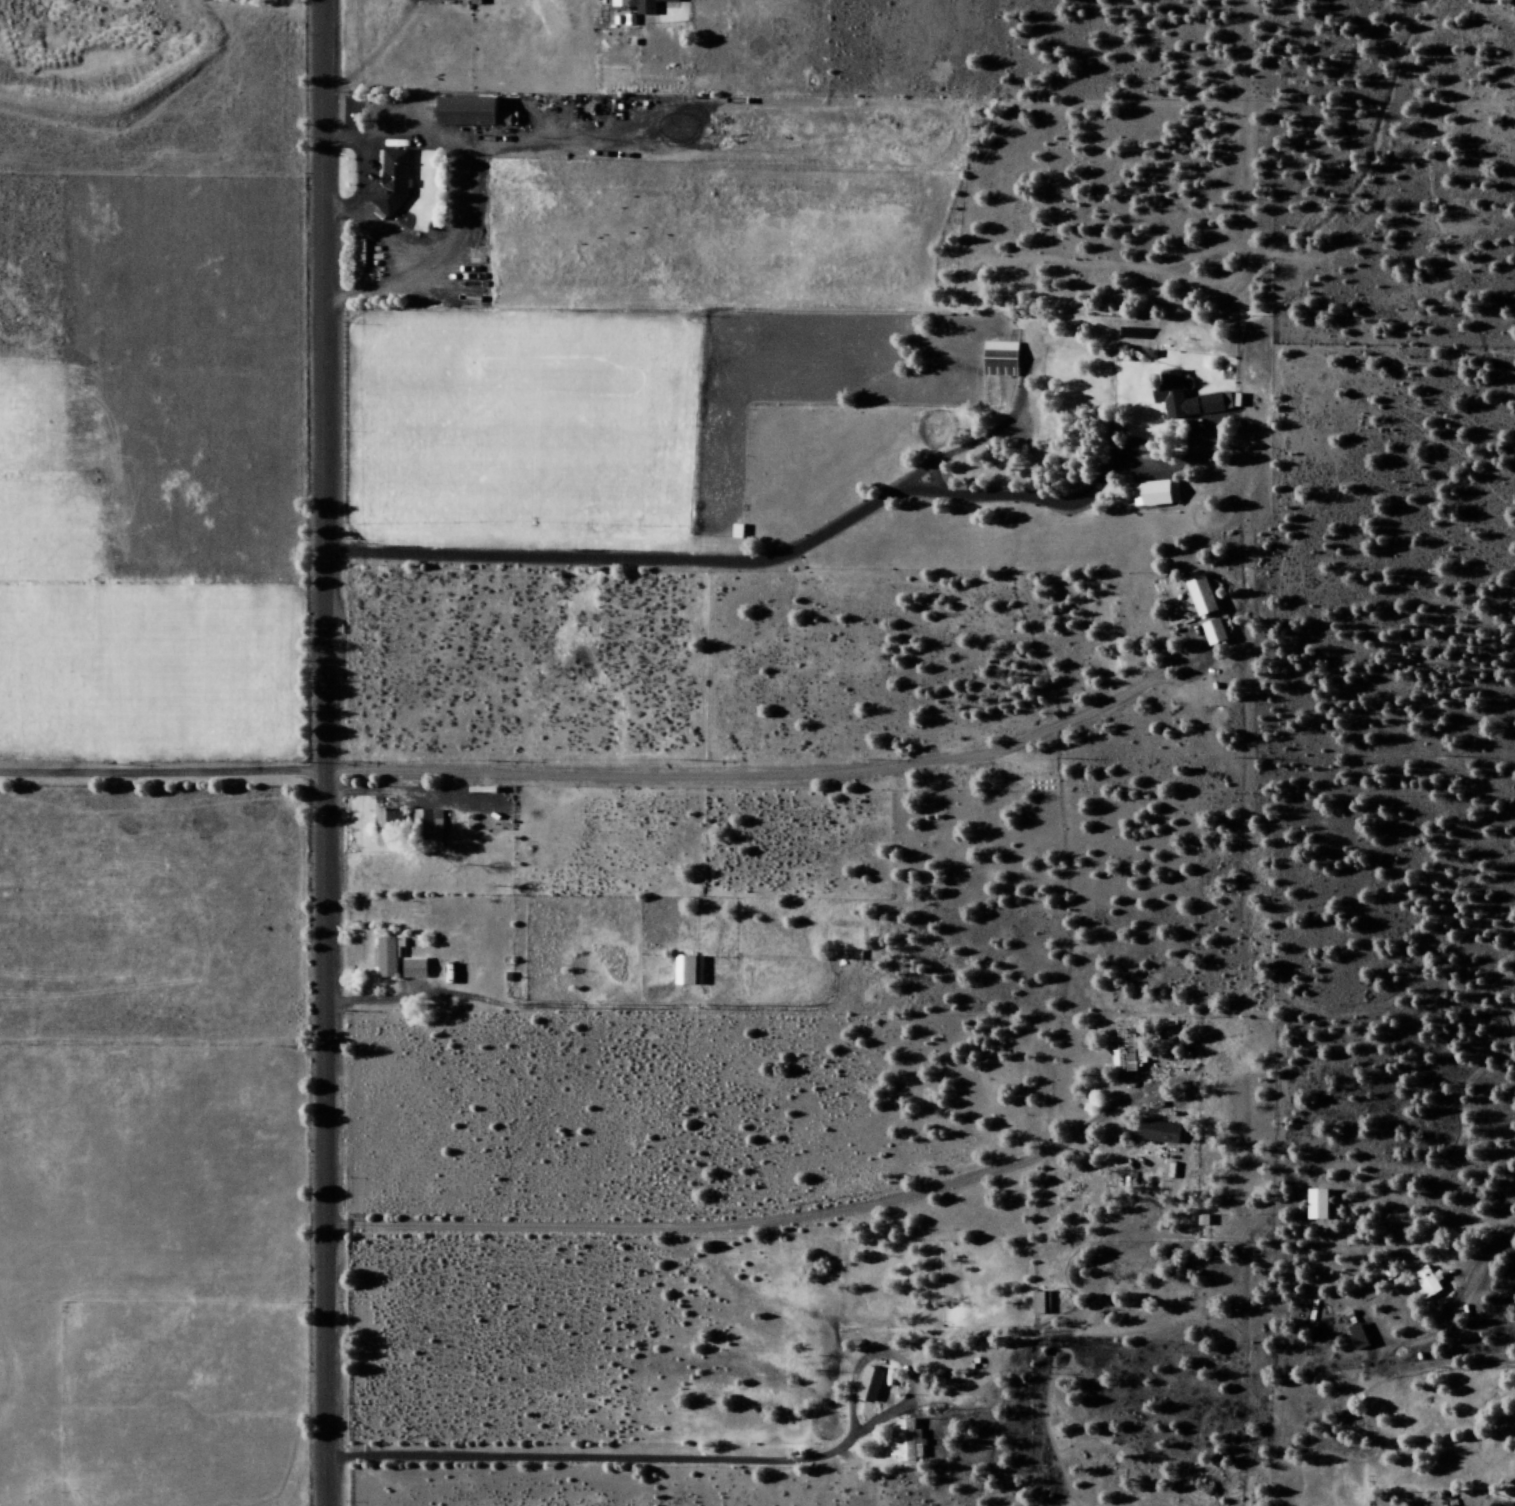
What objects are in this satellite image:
building: (641, 6)
building: (473, 112)
building: (395, 182)
building: (361, 254)
building: (1003, 360)
building: (1193, 399)
building: (1158, 494)
building: (1204, 595)
building: (1216, 632)
road: (322, 753)
building: (431, 824)
building: (390, 828)
building: (390, 956)
building: (416, 969)
building: (690, 971)
building: (1130, 1052)
building: (1162, 1132)
building: (1321, 1204)
building: (1205, 1220)
building: (1428, 1283)
road: (1462, 1294)
building: (1043, 1303)
building: (1361, 1337)
building: (872, 1385)
building: (909, 1442)
building: (1494, 1505)
building: (1507, 1505)

